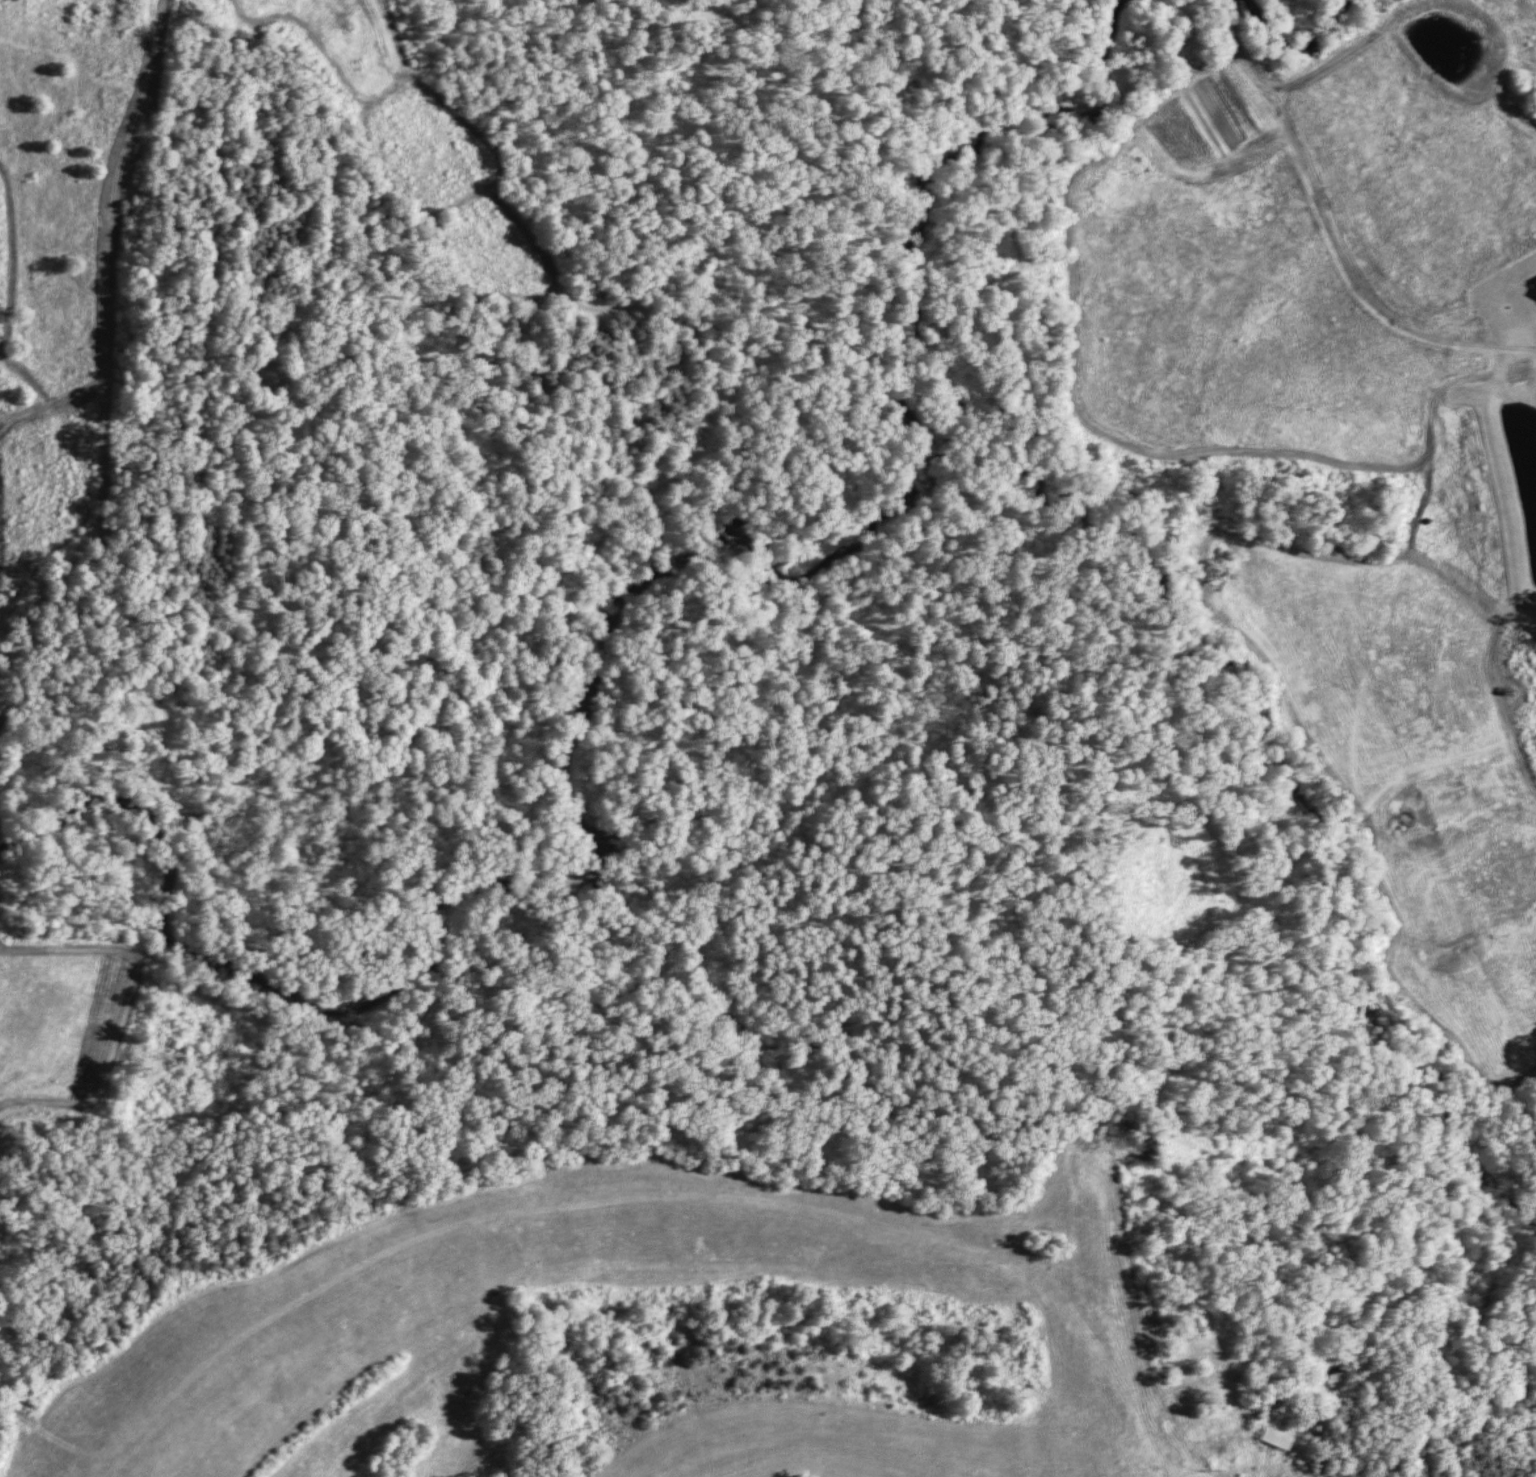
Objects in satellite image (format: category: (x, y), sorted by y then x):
road: (1340, 213)
building: (1533, 284)
building: (1272, 1439)

